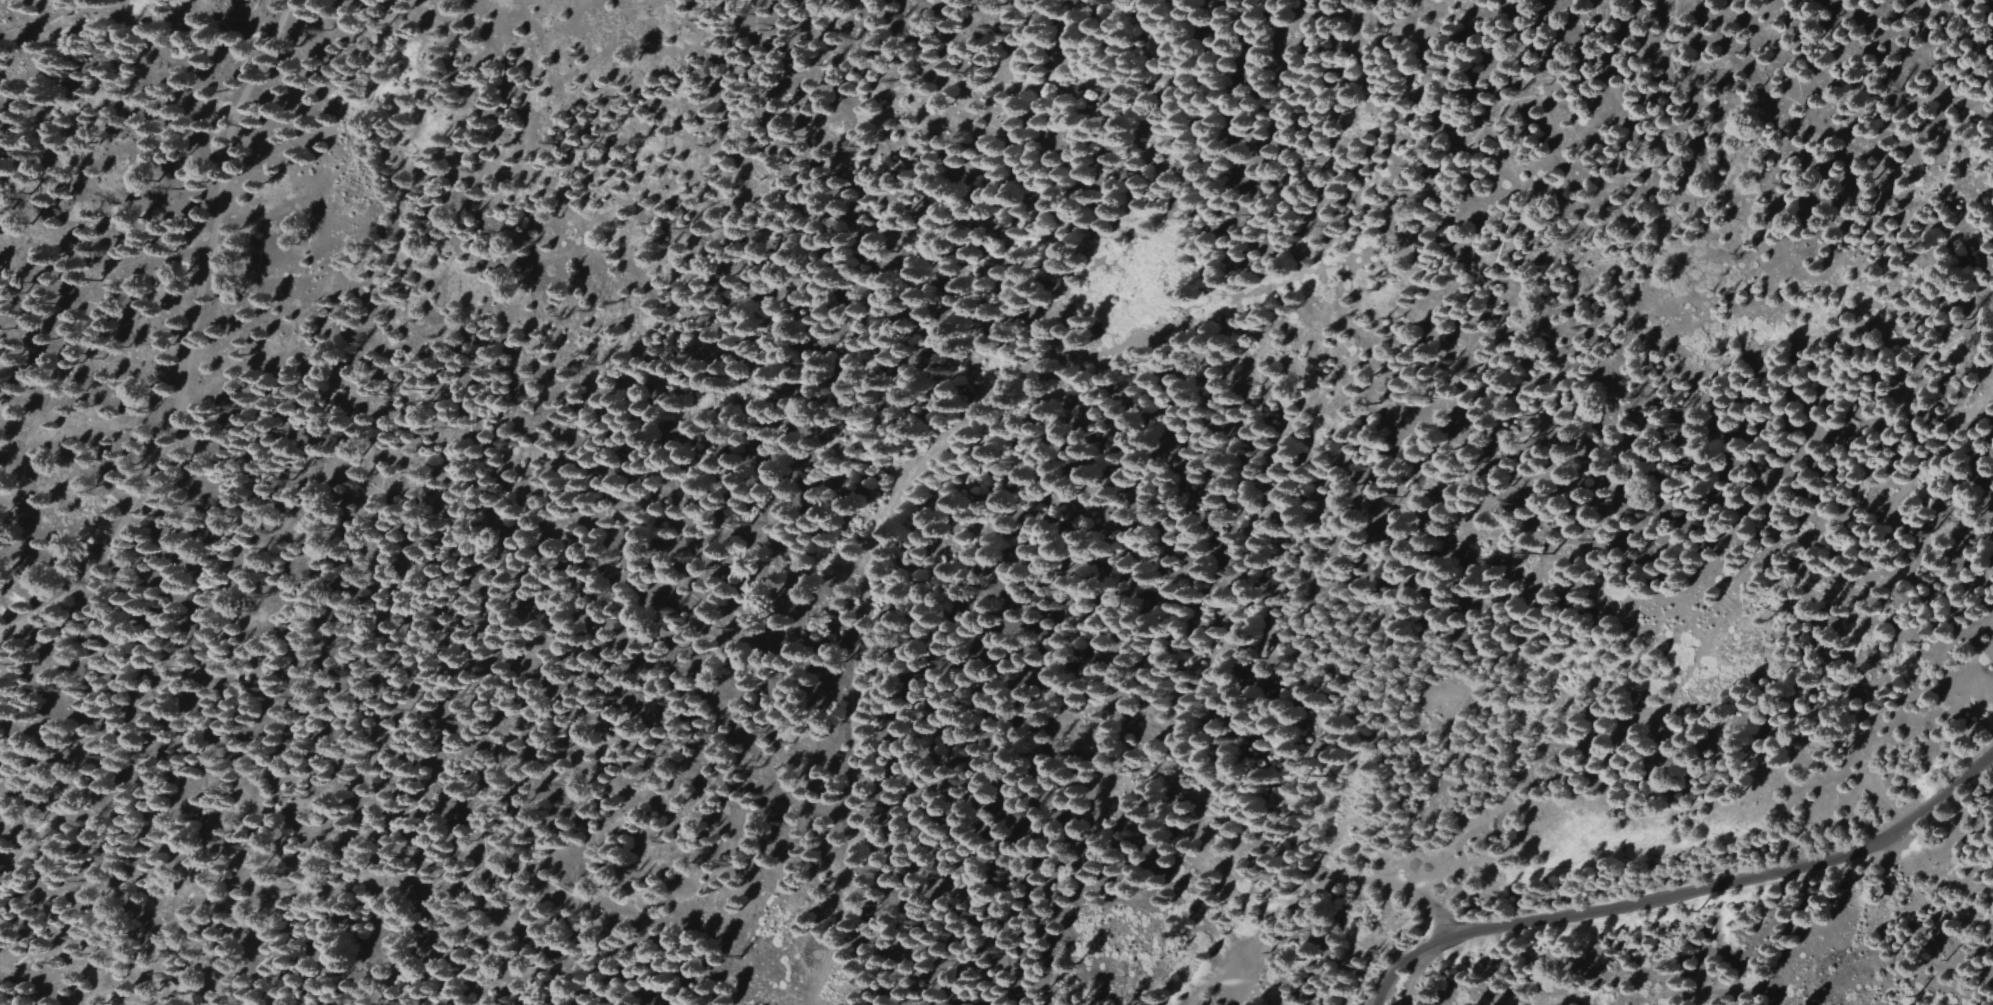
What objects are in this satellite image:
road: (177, 337)
road: (1735, 880)
road: (1348, 882)
road: (1429, 945)
road: (1210, 978)
road: (1239, 978)
road: (1391, 980)
road: (1411, 981)

